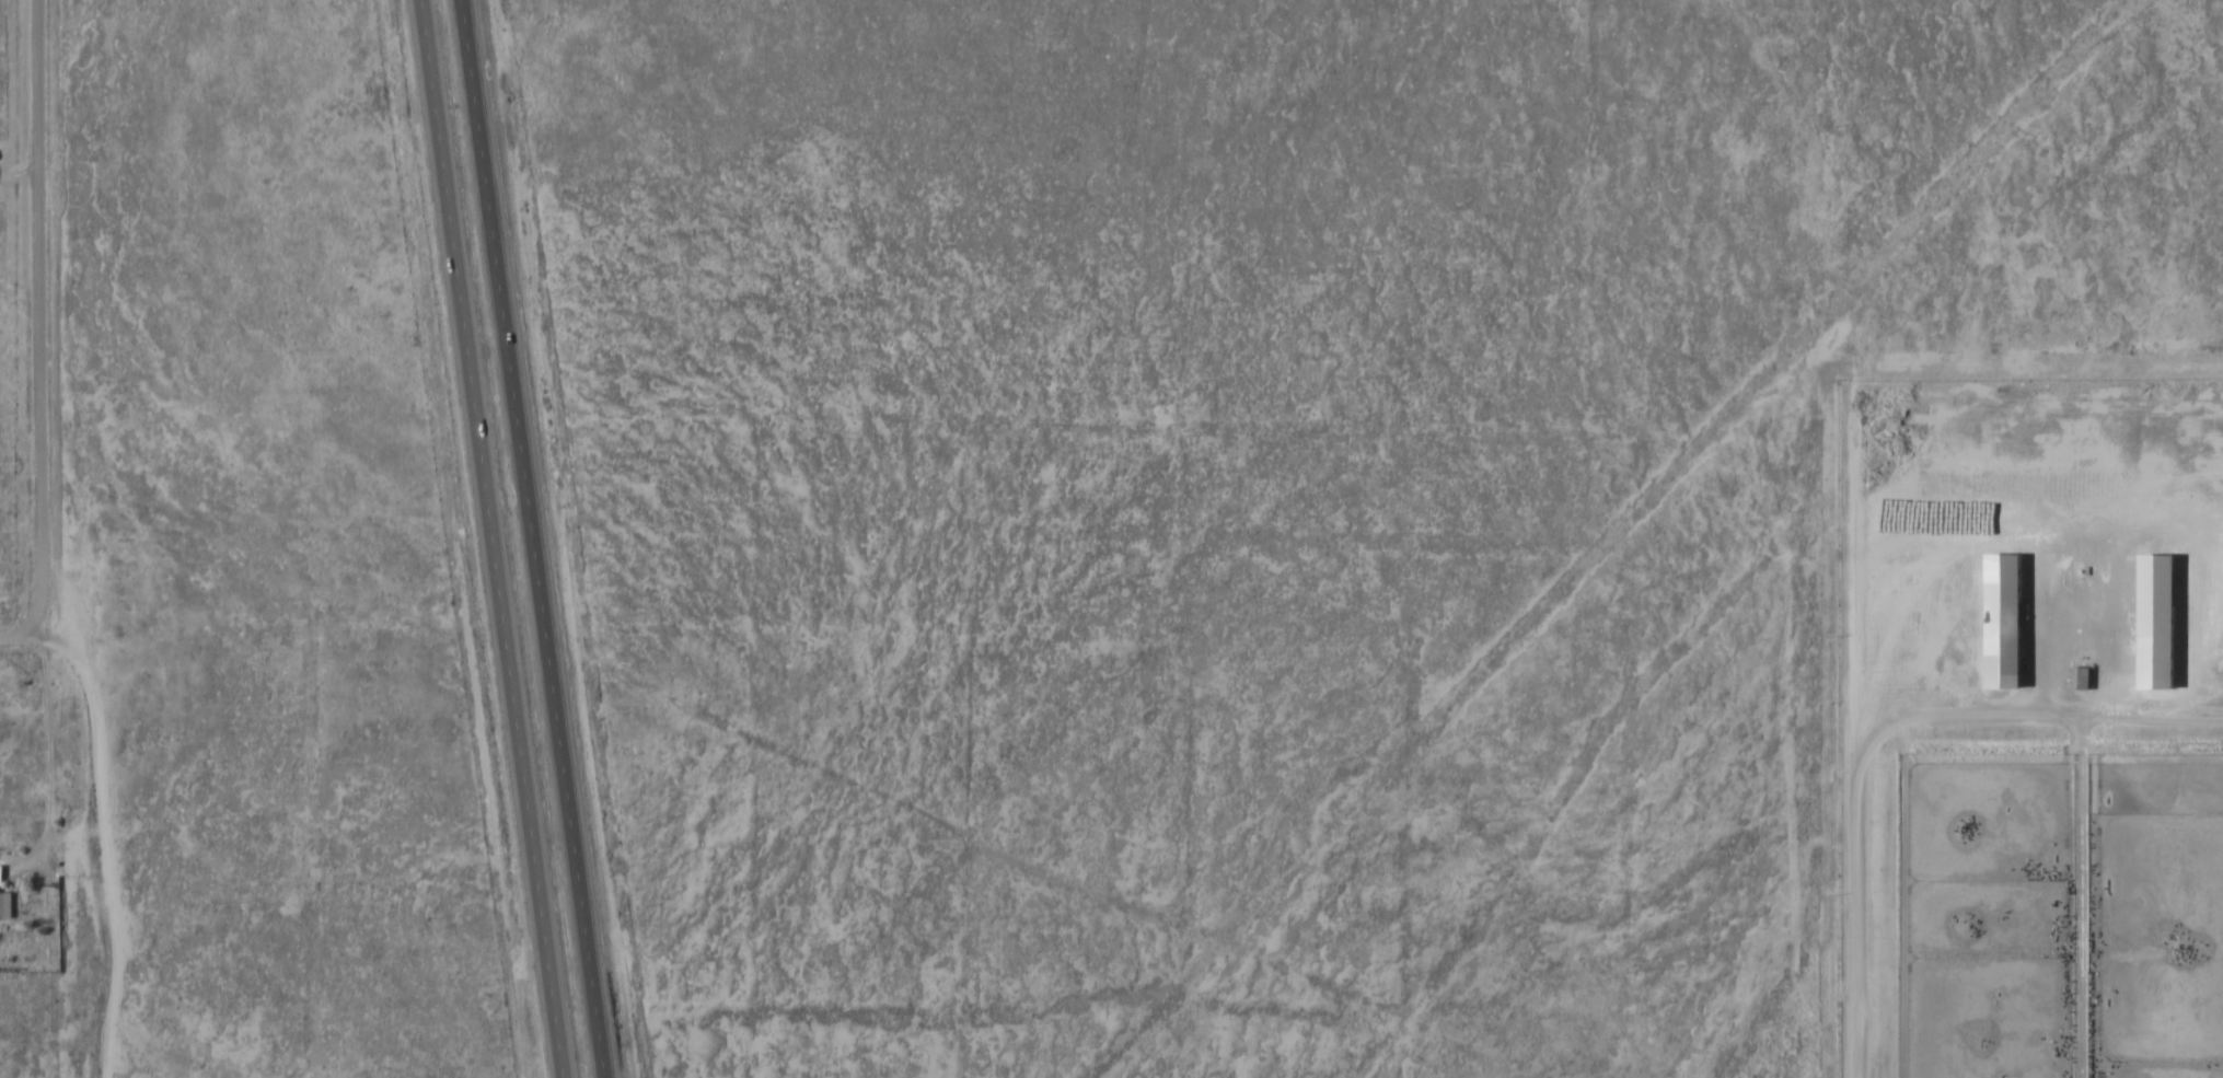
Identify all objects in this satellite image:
road: (44, 320)
road: (489, 538)
road: (536, 538)
building: (2000, 619)
building: (2153, 619)
road: (19, 638)
building: (2077, 675)

